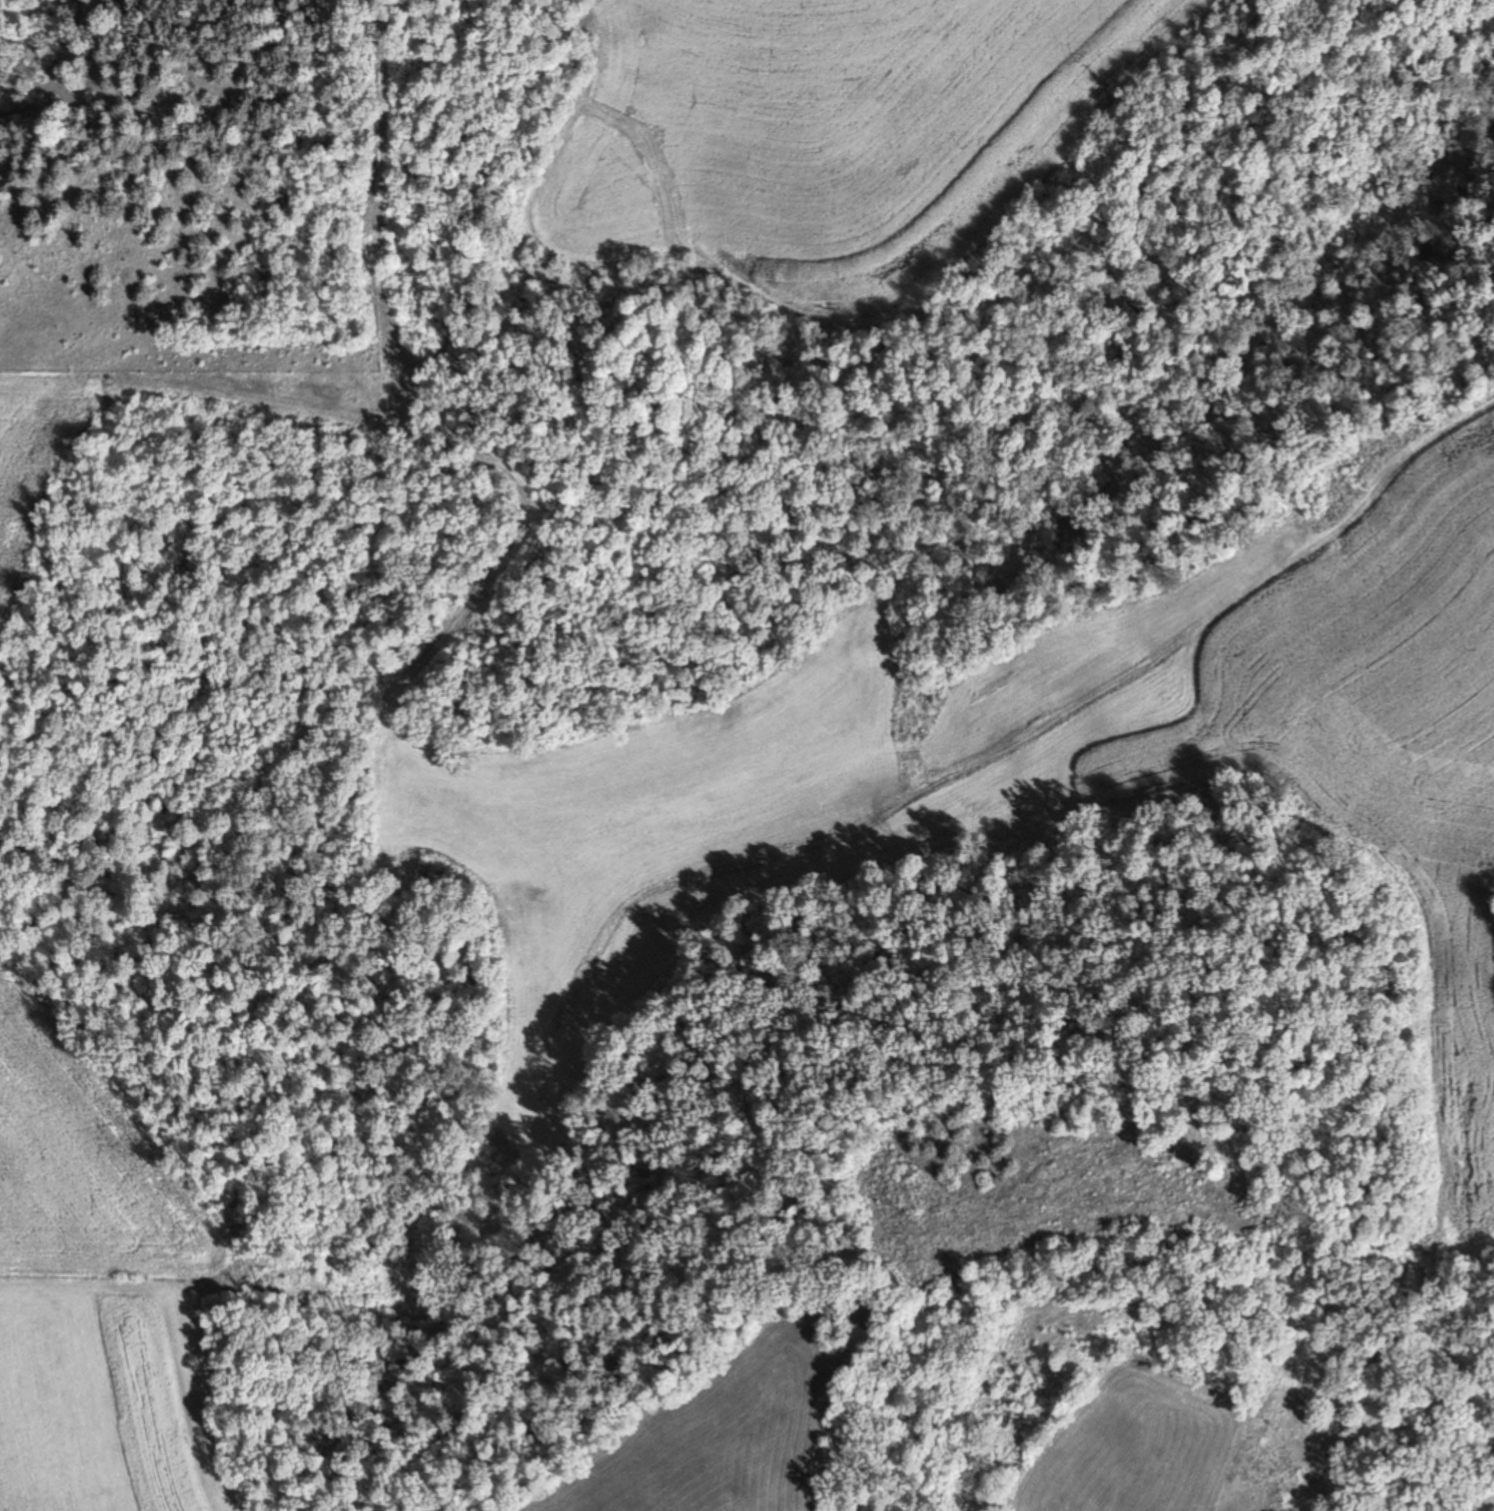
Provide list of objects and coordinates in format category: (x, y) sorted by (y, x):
road: (1487, 1506)

